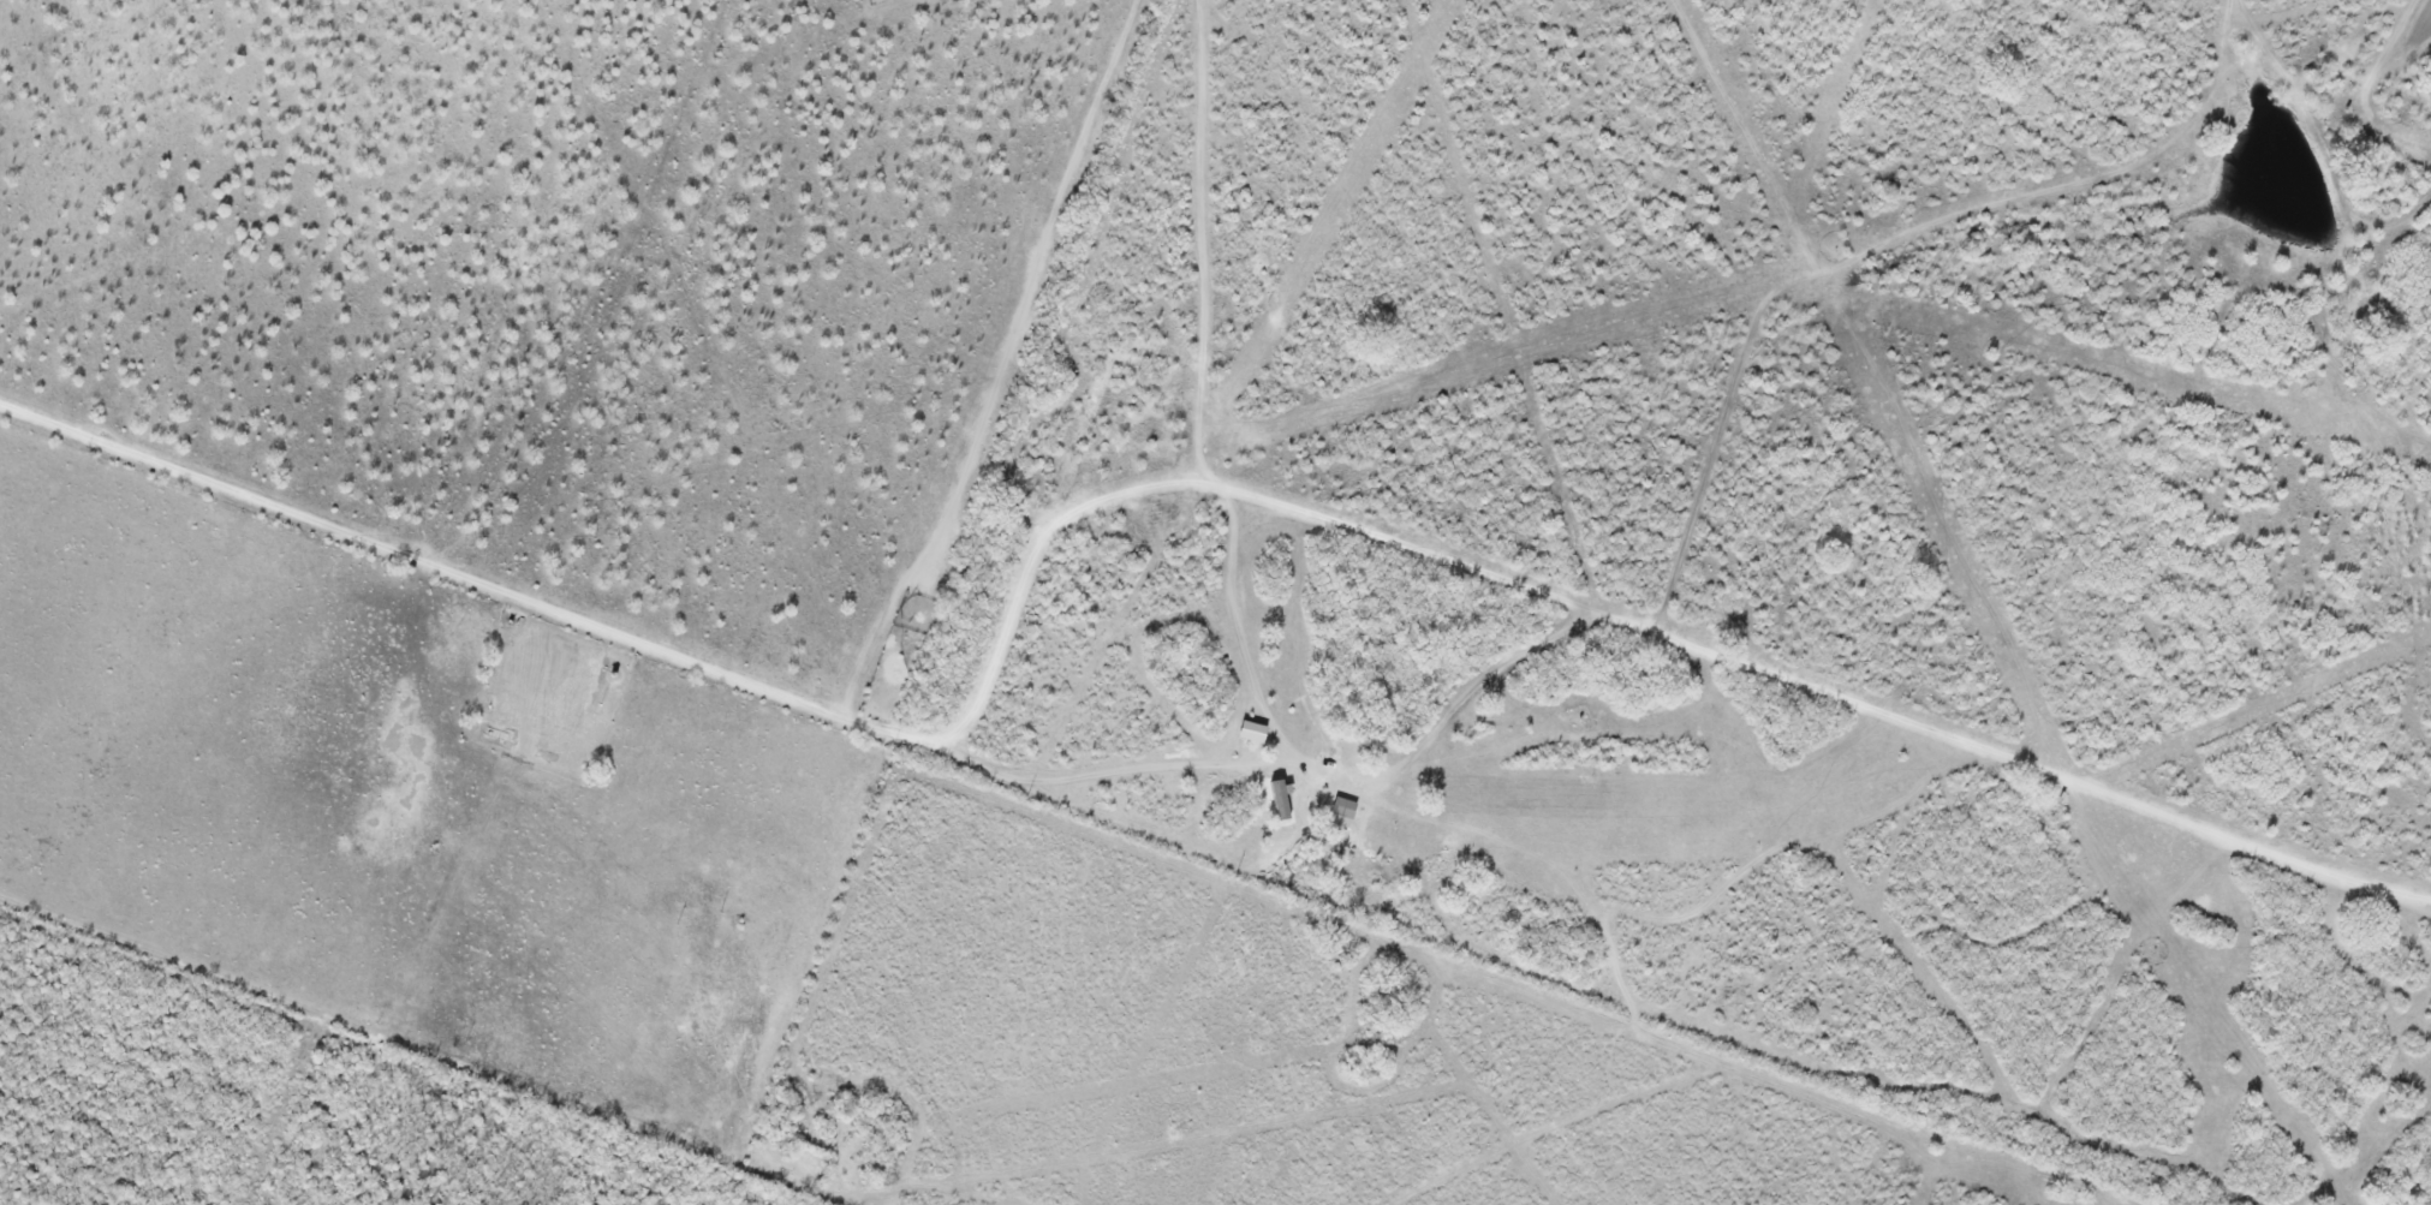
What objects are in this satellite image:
building: (1341, 816)

